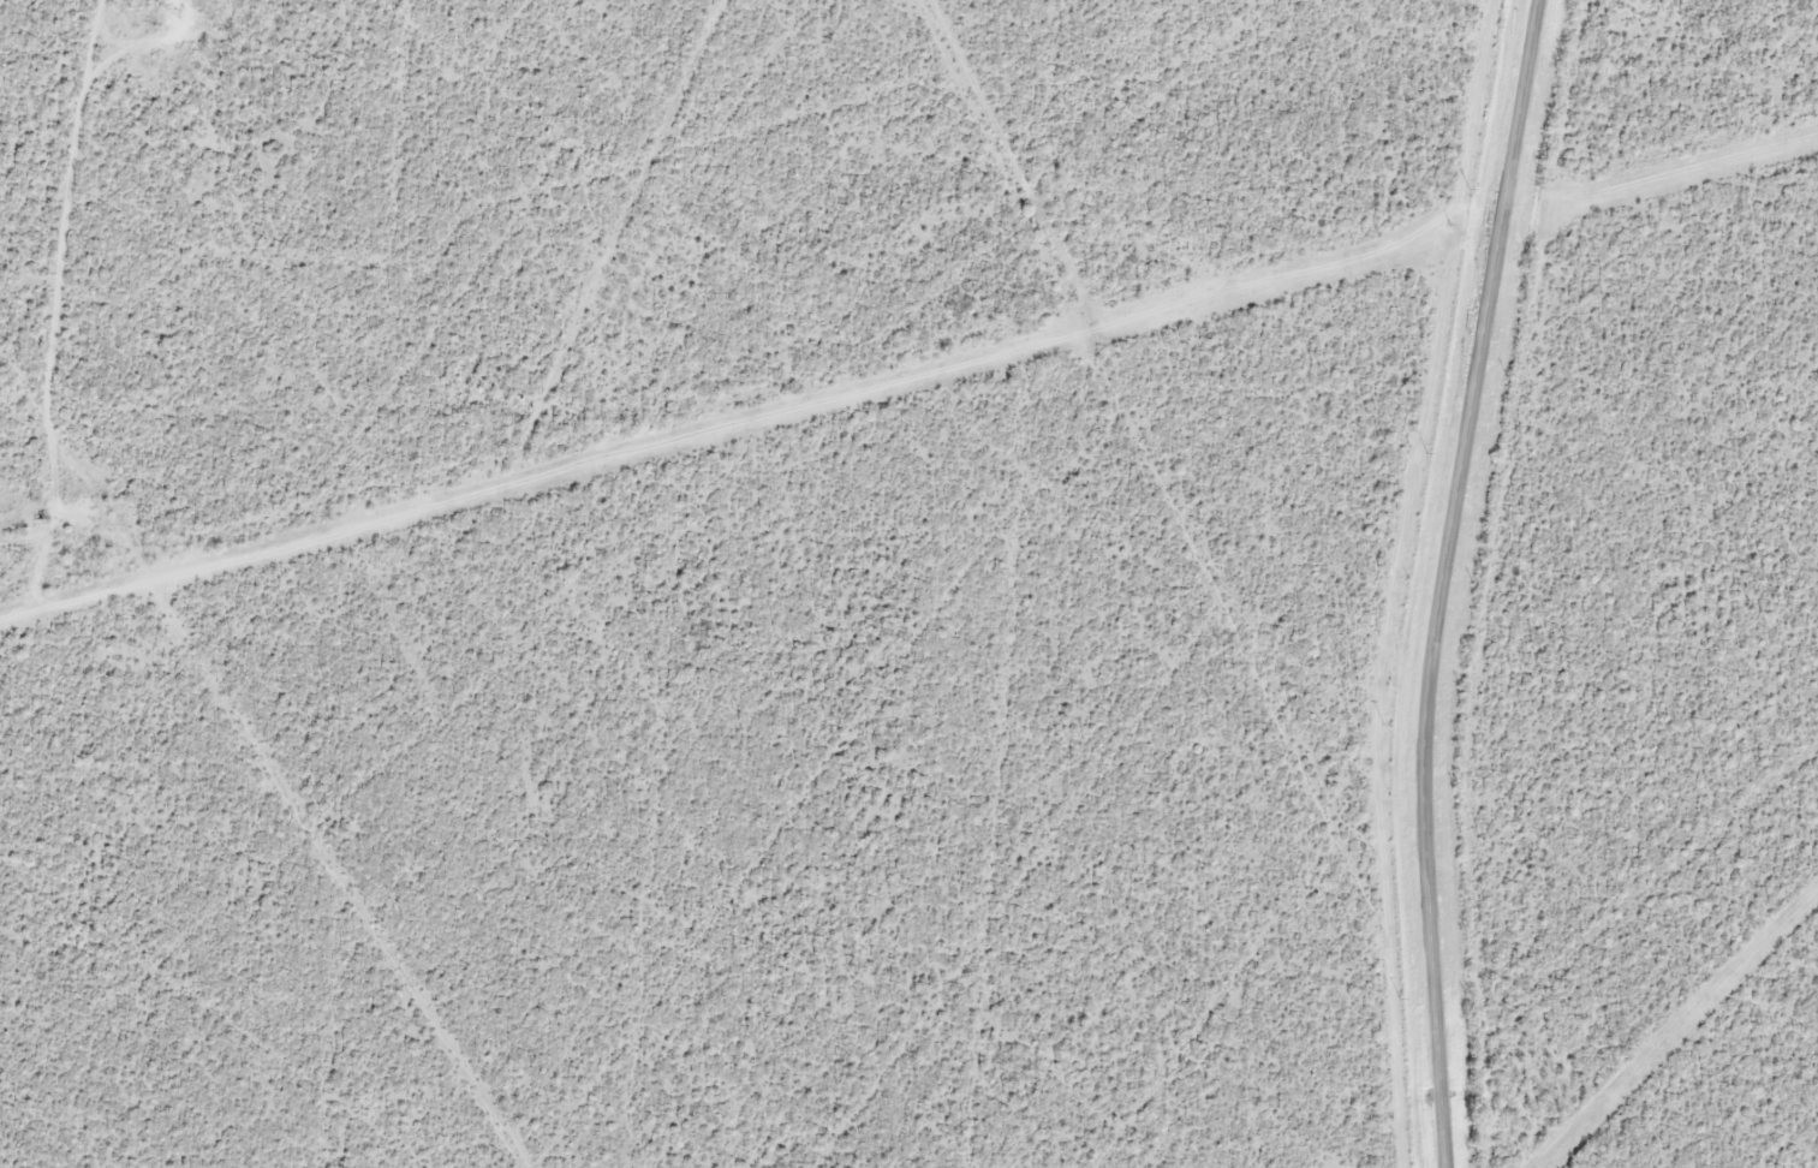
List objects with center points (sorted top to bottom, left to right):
road: (1465, 580)

